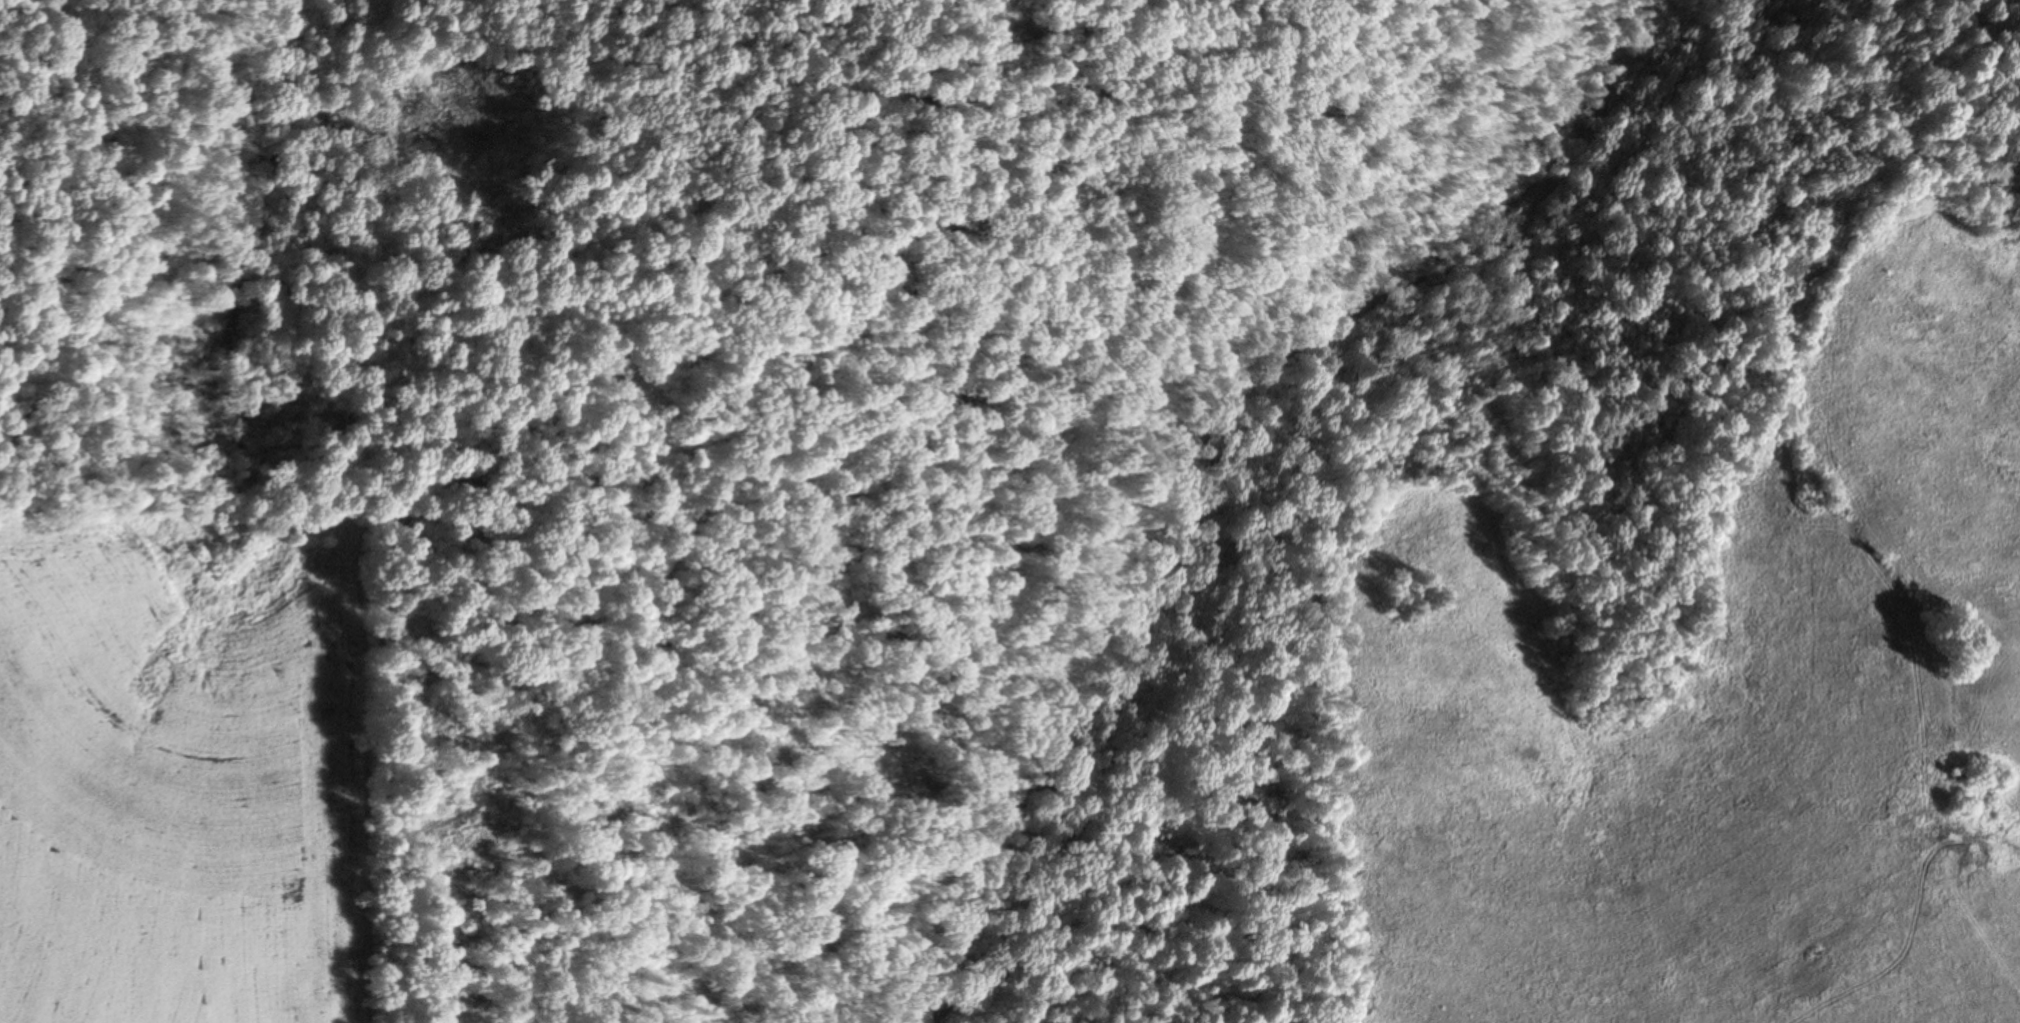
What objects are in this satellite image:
road: (2000, 884)

